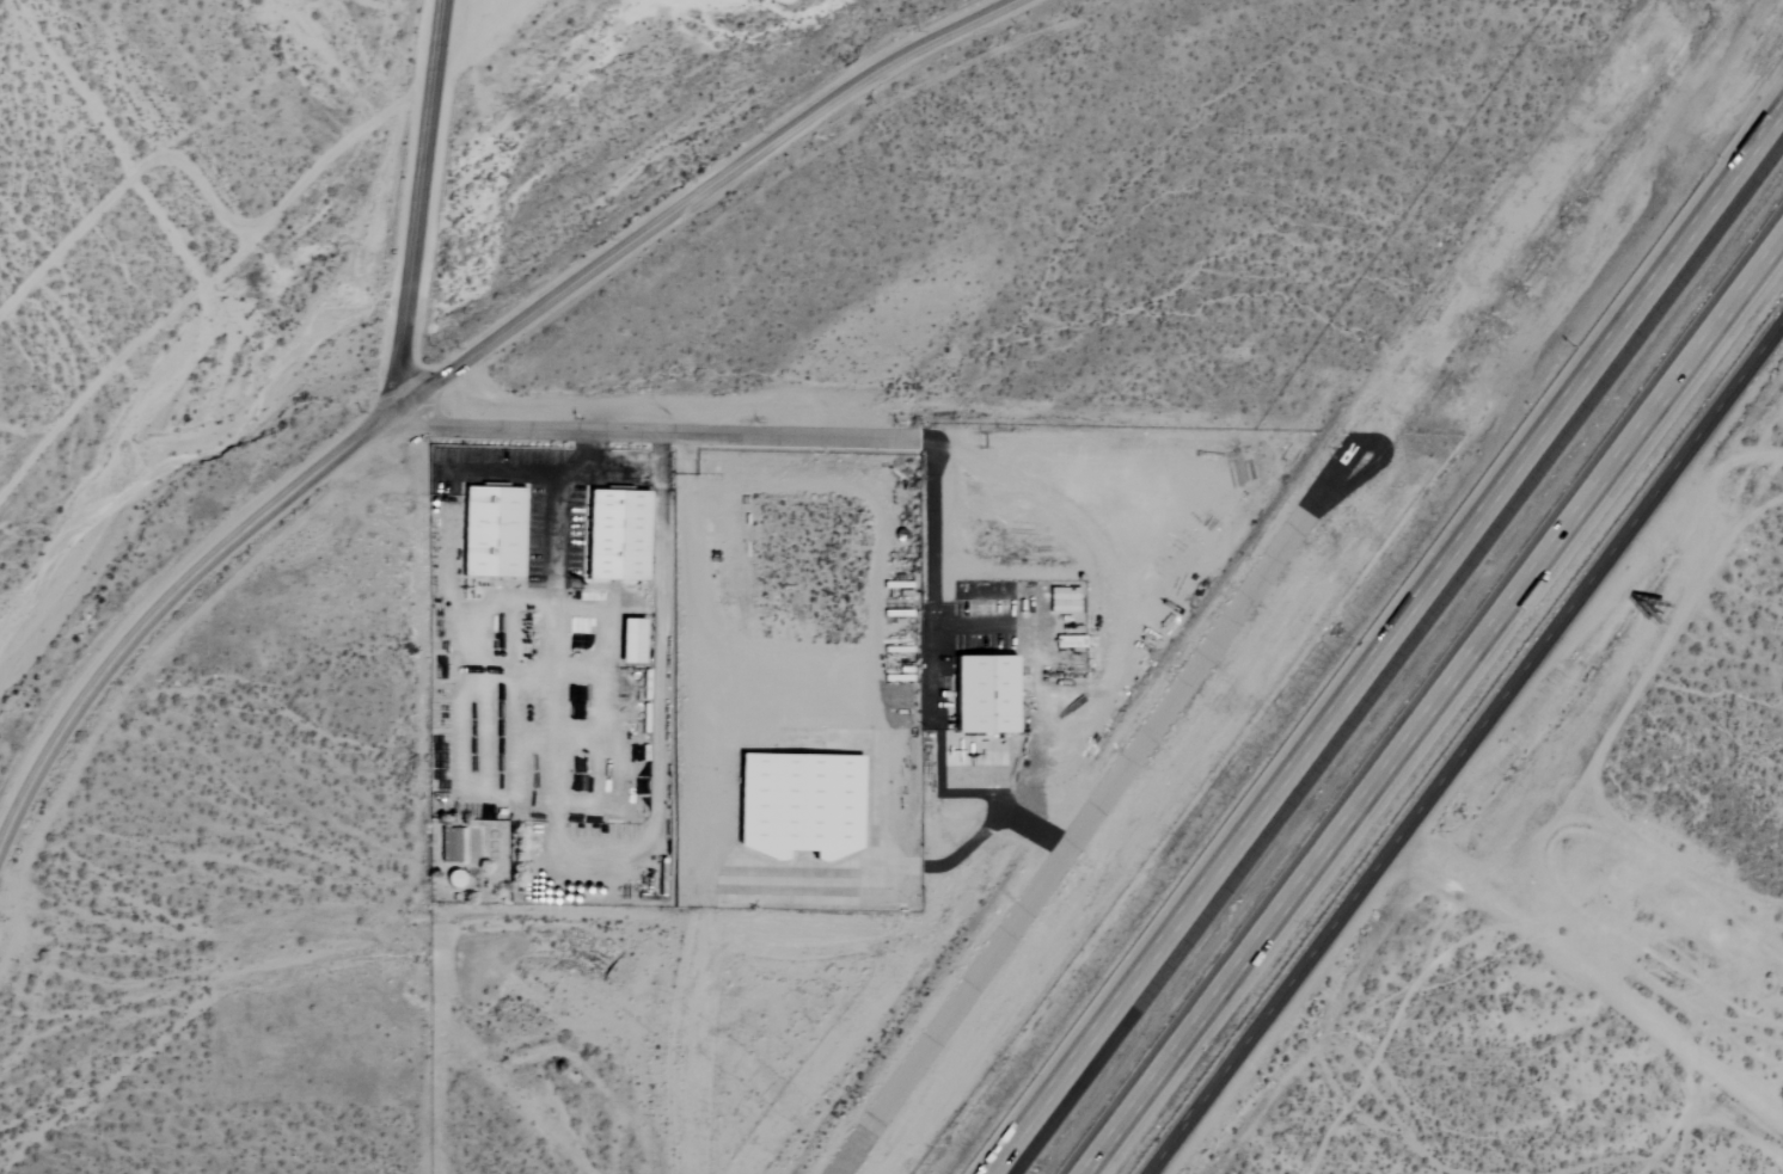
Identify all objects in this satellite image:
road: (419, 205)
road: (459, 365)
road: (656, 431)
road: (1733, 456)
airport taxiway: (1356, 467)
road: (531, 472)
road: (641, 473)
building: (490, 531)
road: (554, 531)
building: (614, 535)
road: (930, 568)
road: (969, 626)
building: (629, 641)
road: (1389, 649)
road: (854, 671)
railway: (1411, 676)
building: (982, 694)
airport: (1027, 699)
road: (1438, 713)
road: (1464, 748)
airport taxiway: (993, 795)
building: (797, 805)
airport runway: (1084, 811)
airport taxiway: (1030, 826)
airport taxiway: (943, 858)
road: (1592, 978)

